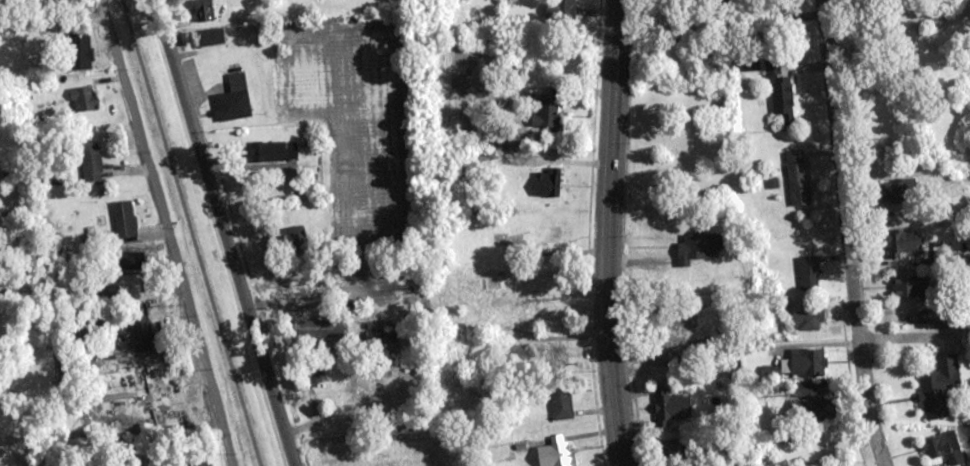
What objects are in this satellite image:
building: (567, 6)
road: (51, 12)
building: (202, 12)
building: (210, 37)
building: (84, 57)
building: (780, 93)
building: (83, 99)
building: (234, 100)
building: (547, 113)
building: (89, 161)
building: (797, 178)
building: (897, 191)
building: (124, 219)
road: (167, 232)
road: (223, 233)
road: (612, 233)
road: (846, 233)
building: (288, 240)
building: (901, 243)
building: (700, 246)
building: (129, 261)
building: (808, 273)
building: (909, 286)
building: (807, 321)
building: (320, 333)
building: (142, 334)
building: (390, 340)
building: (665, 357)
building: (808, 362)
building: (939, 386)
building: (393, 399)
building: (561, 403)
building: (671, 409)
building: (944, 448)
building: (555, 455)
building: (969, 465)

